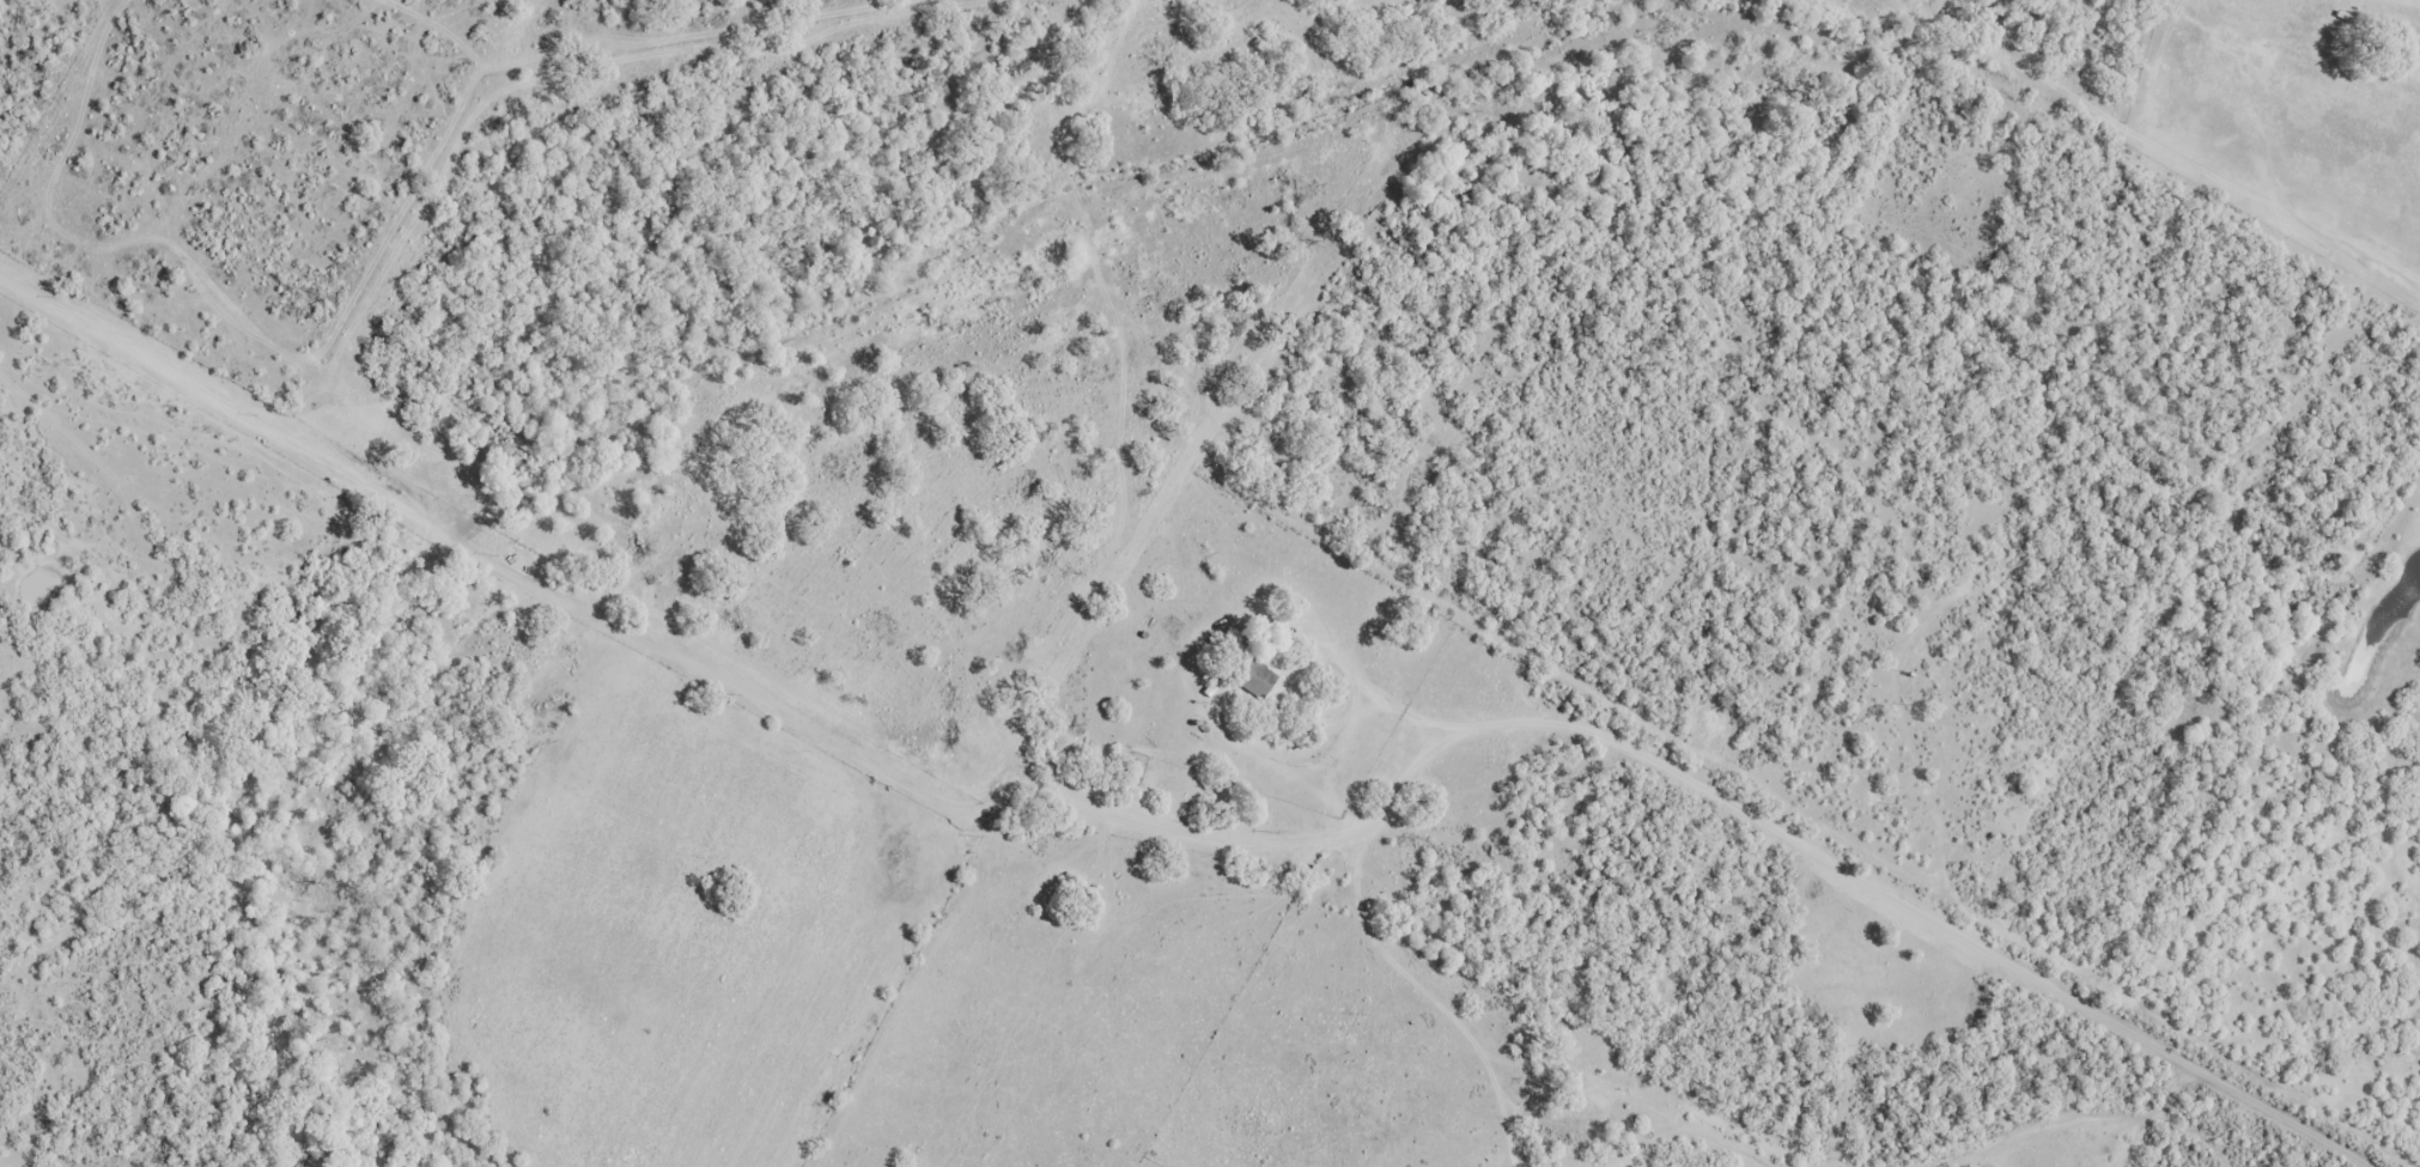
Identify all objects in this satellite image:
river: (1254, 134)
road: (68, 310)
river: (363, 604)
building: (1254, 675)
road: (1245, 776)

